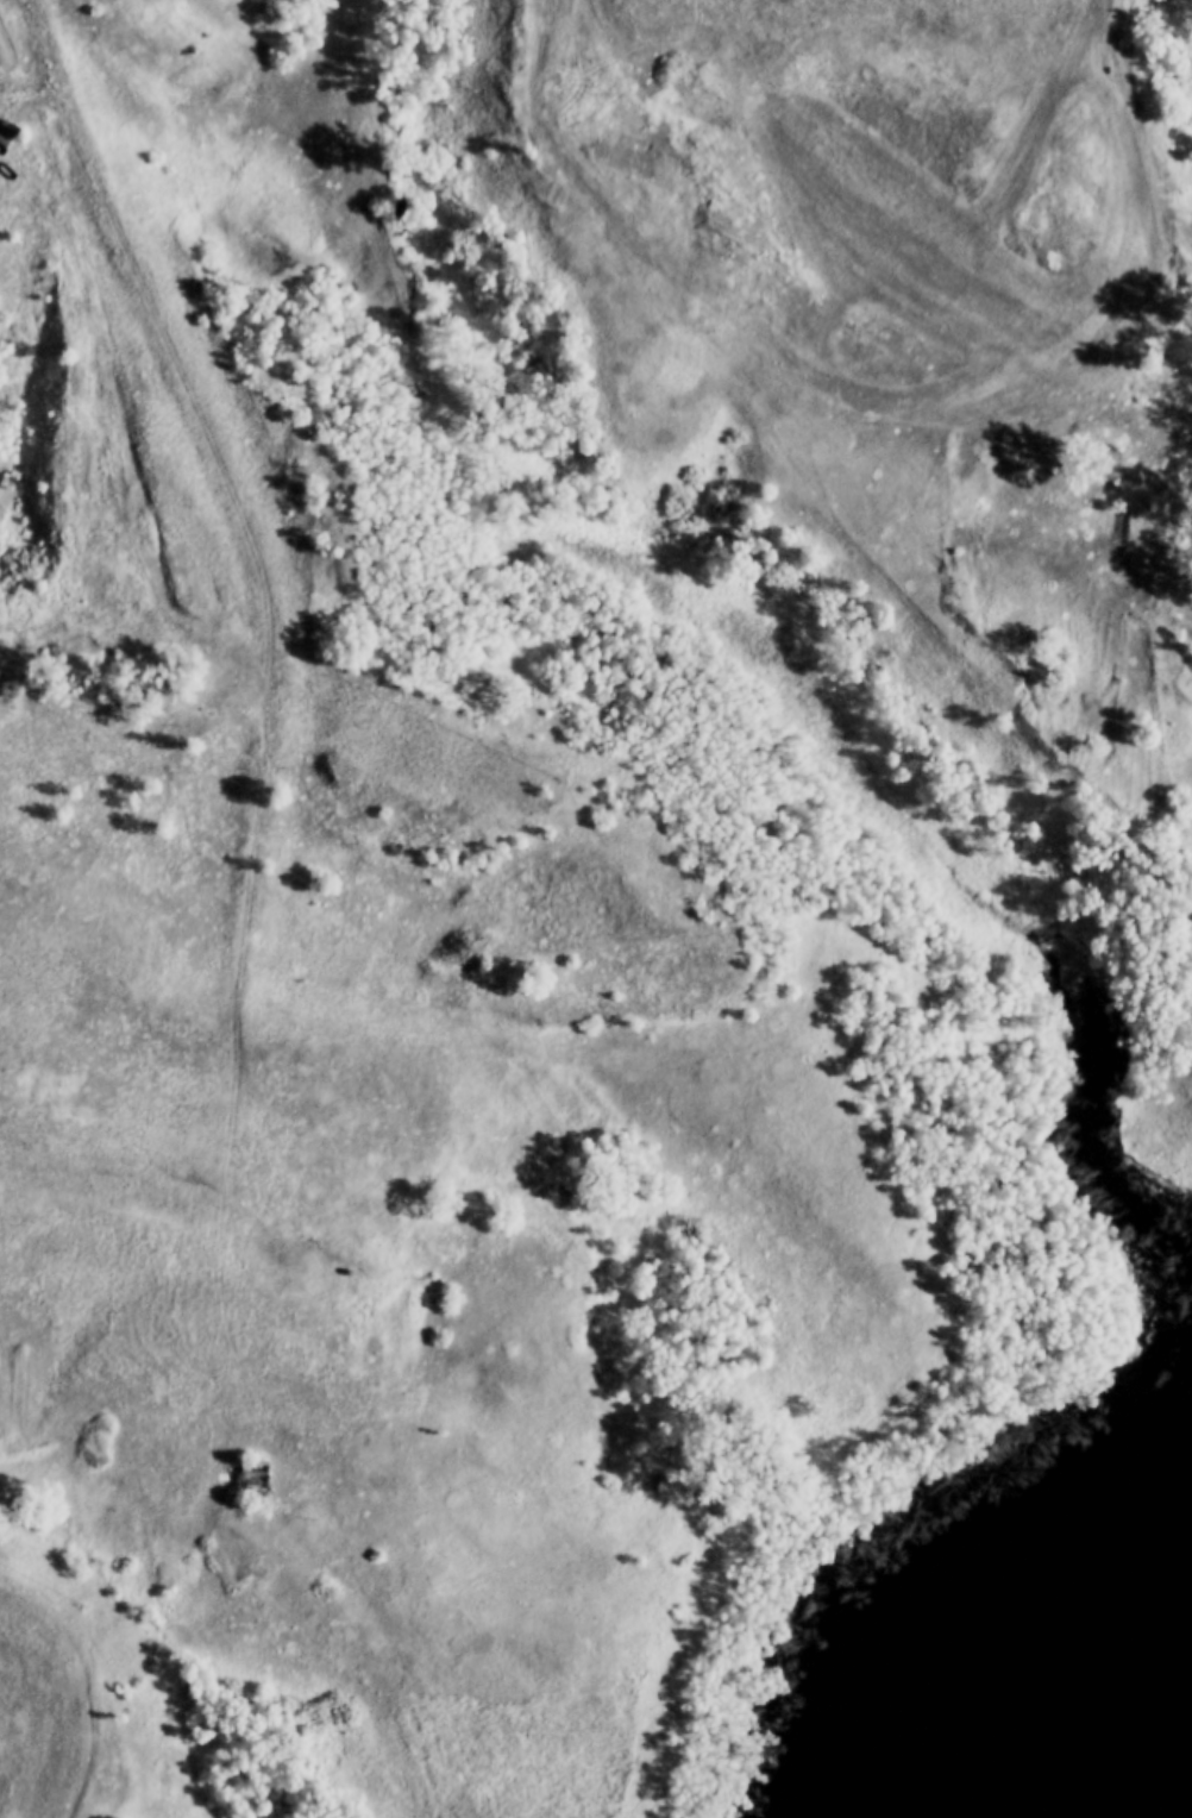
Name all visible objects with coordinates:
building: (2, 58)
road: (270, 596)
building: (250, 1479)

